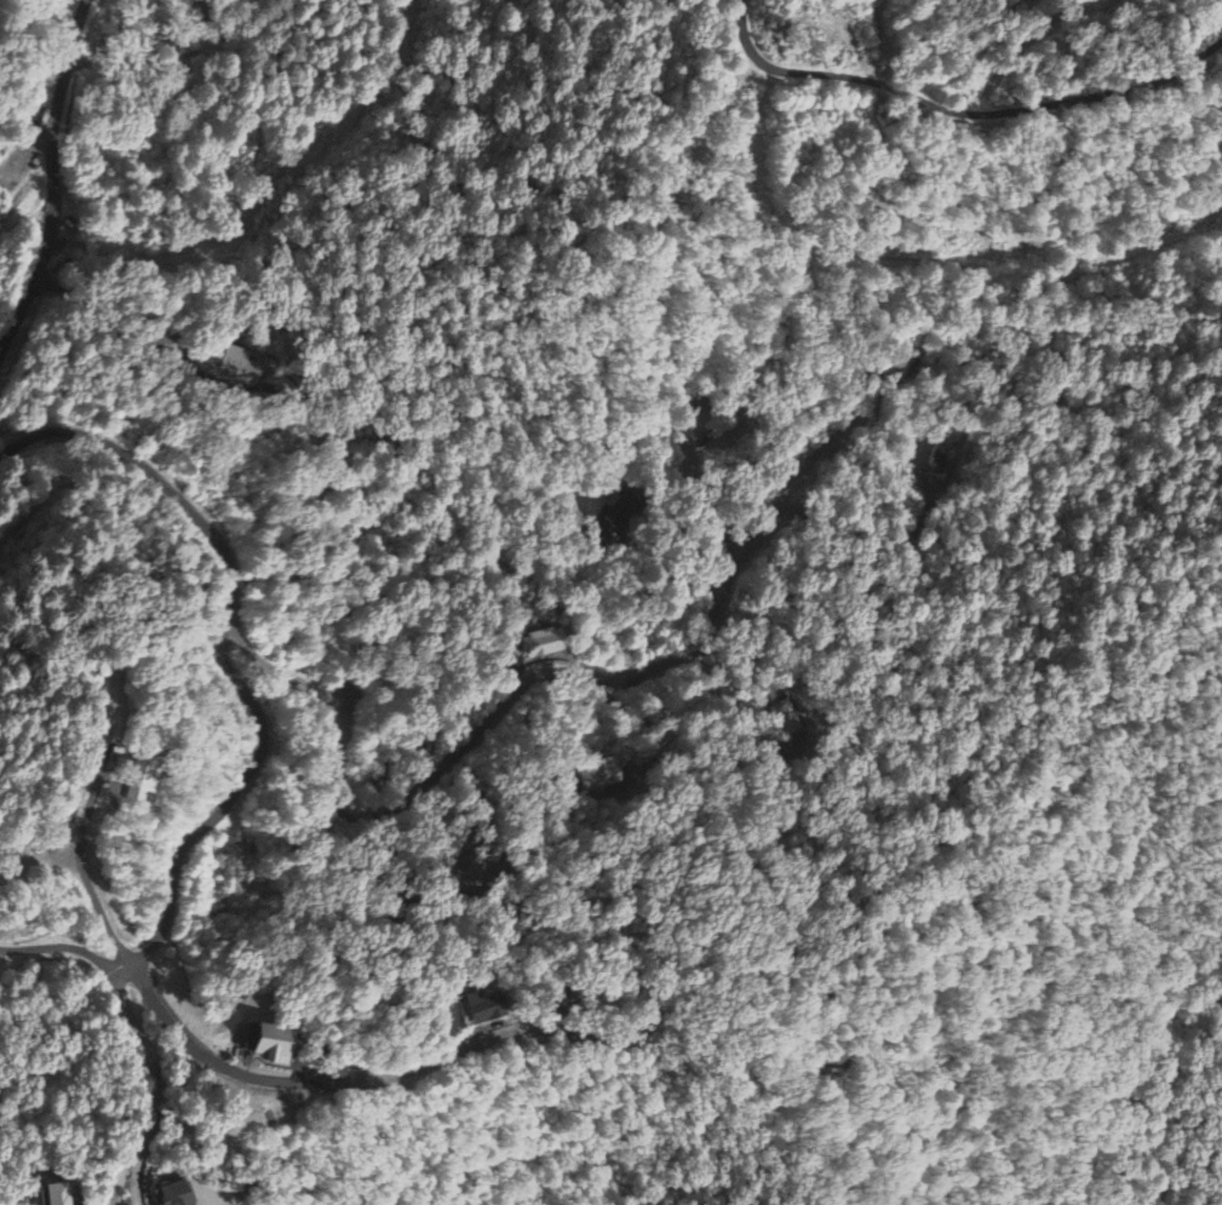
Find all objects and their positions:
road: (61, 115)
building: (538, 643)
building: (140, 777)
building: (482, 1006)
building: (52, 1194)
building: (174, 1194)

